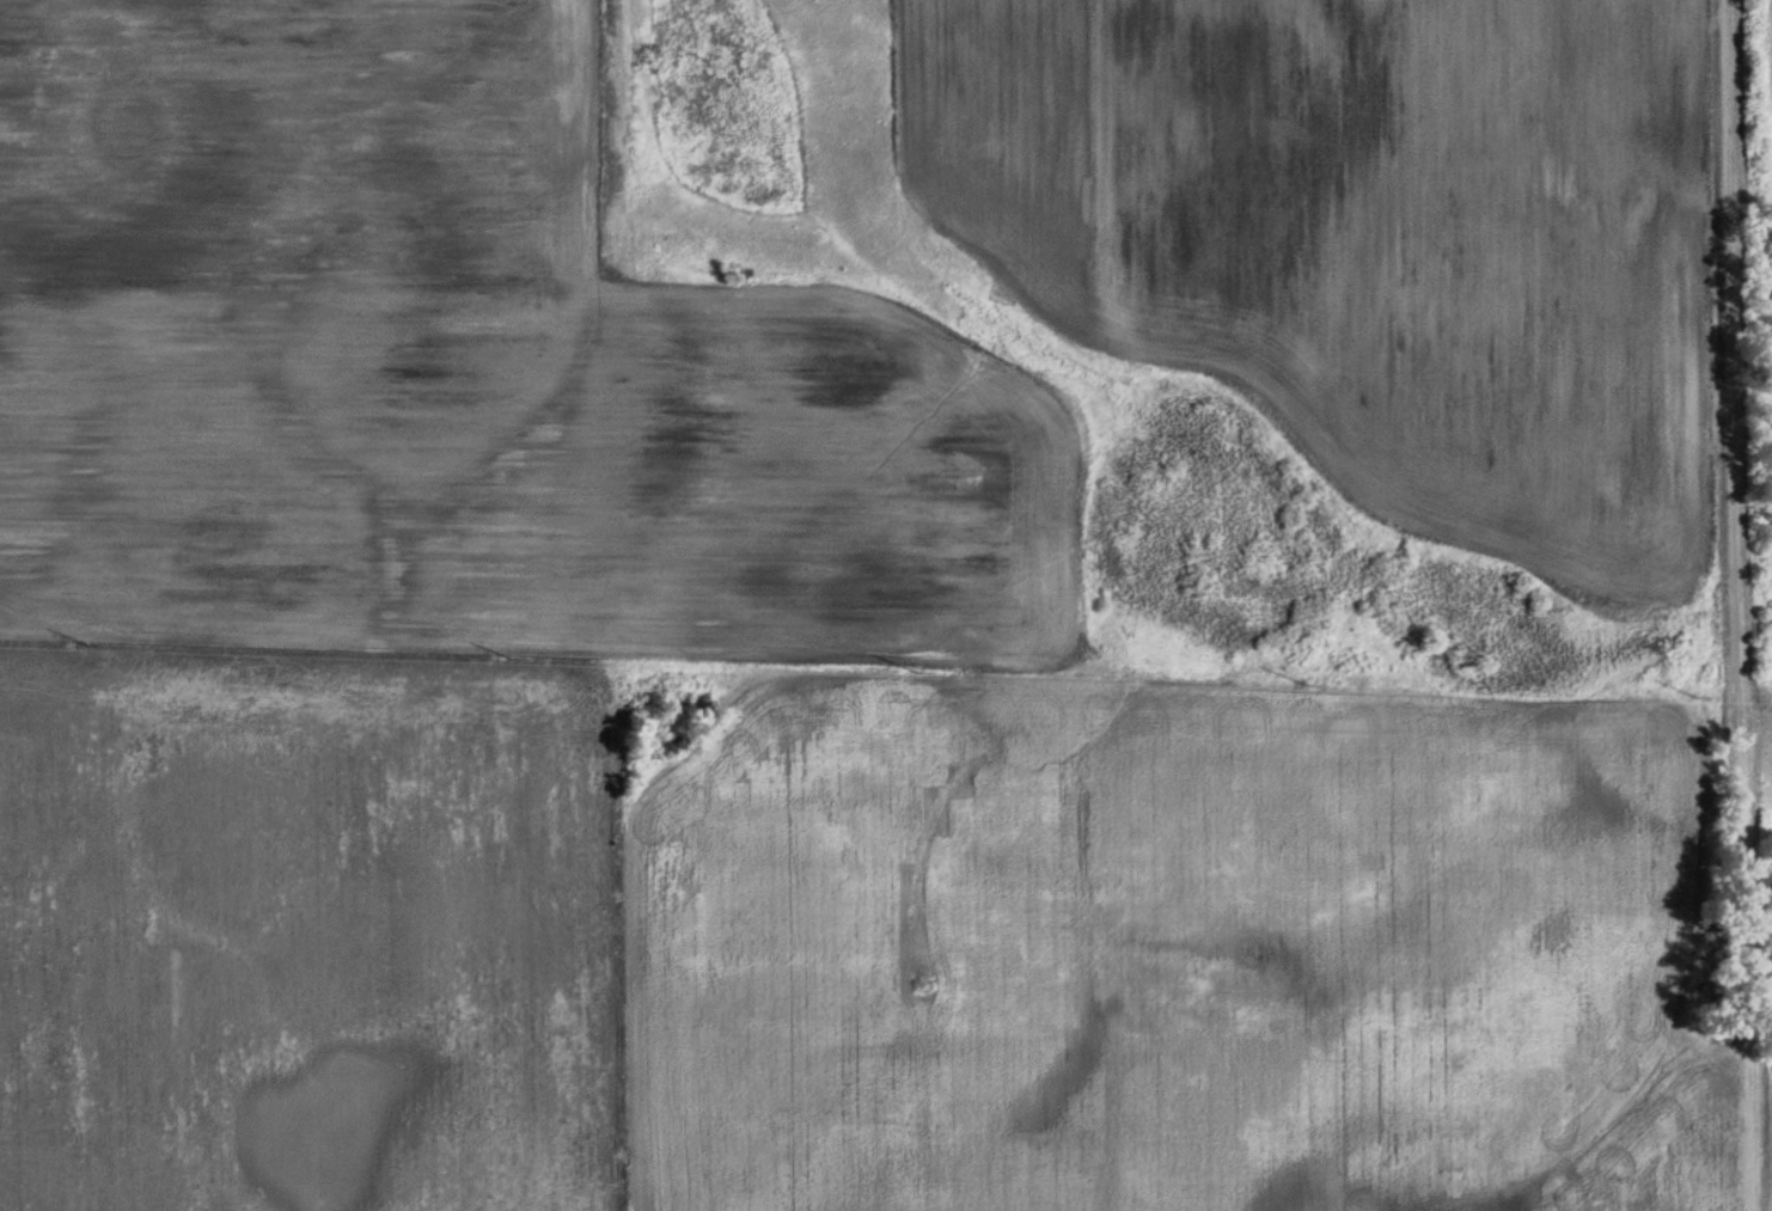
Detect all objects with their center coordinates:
road: (1743, 605)

